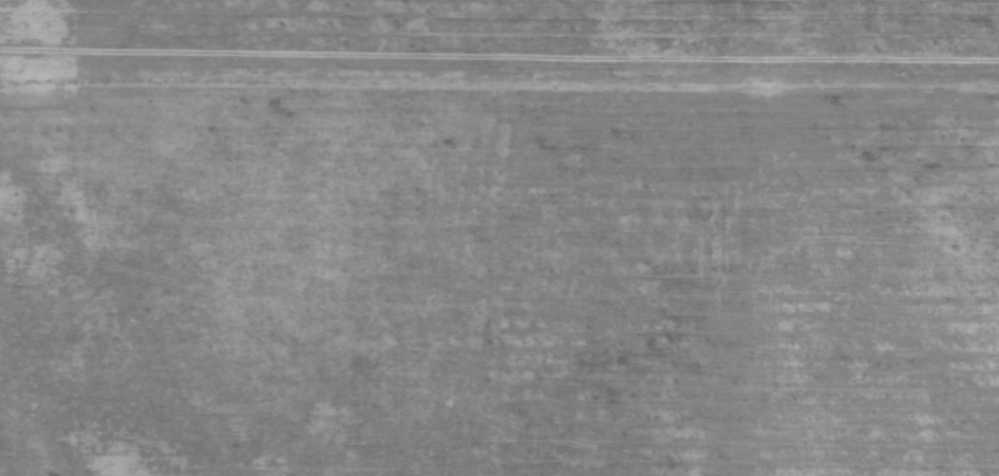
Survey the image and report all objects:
airport: (167, 366)

